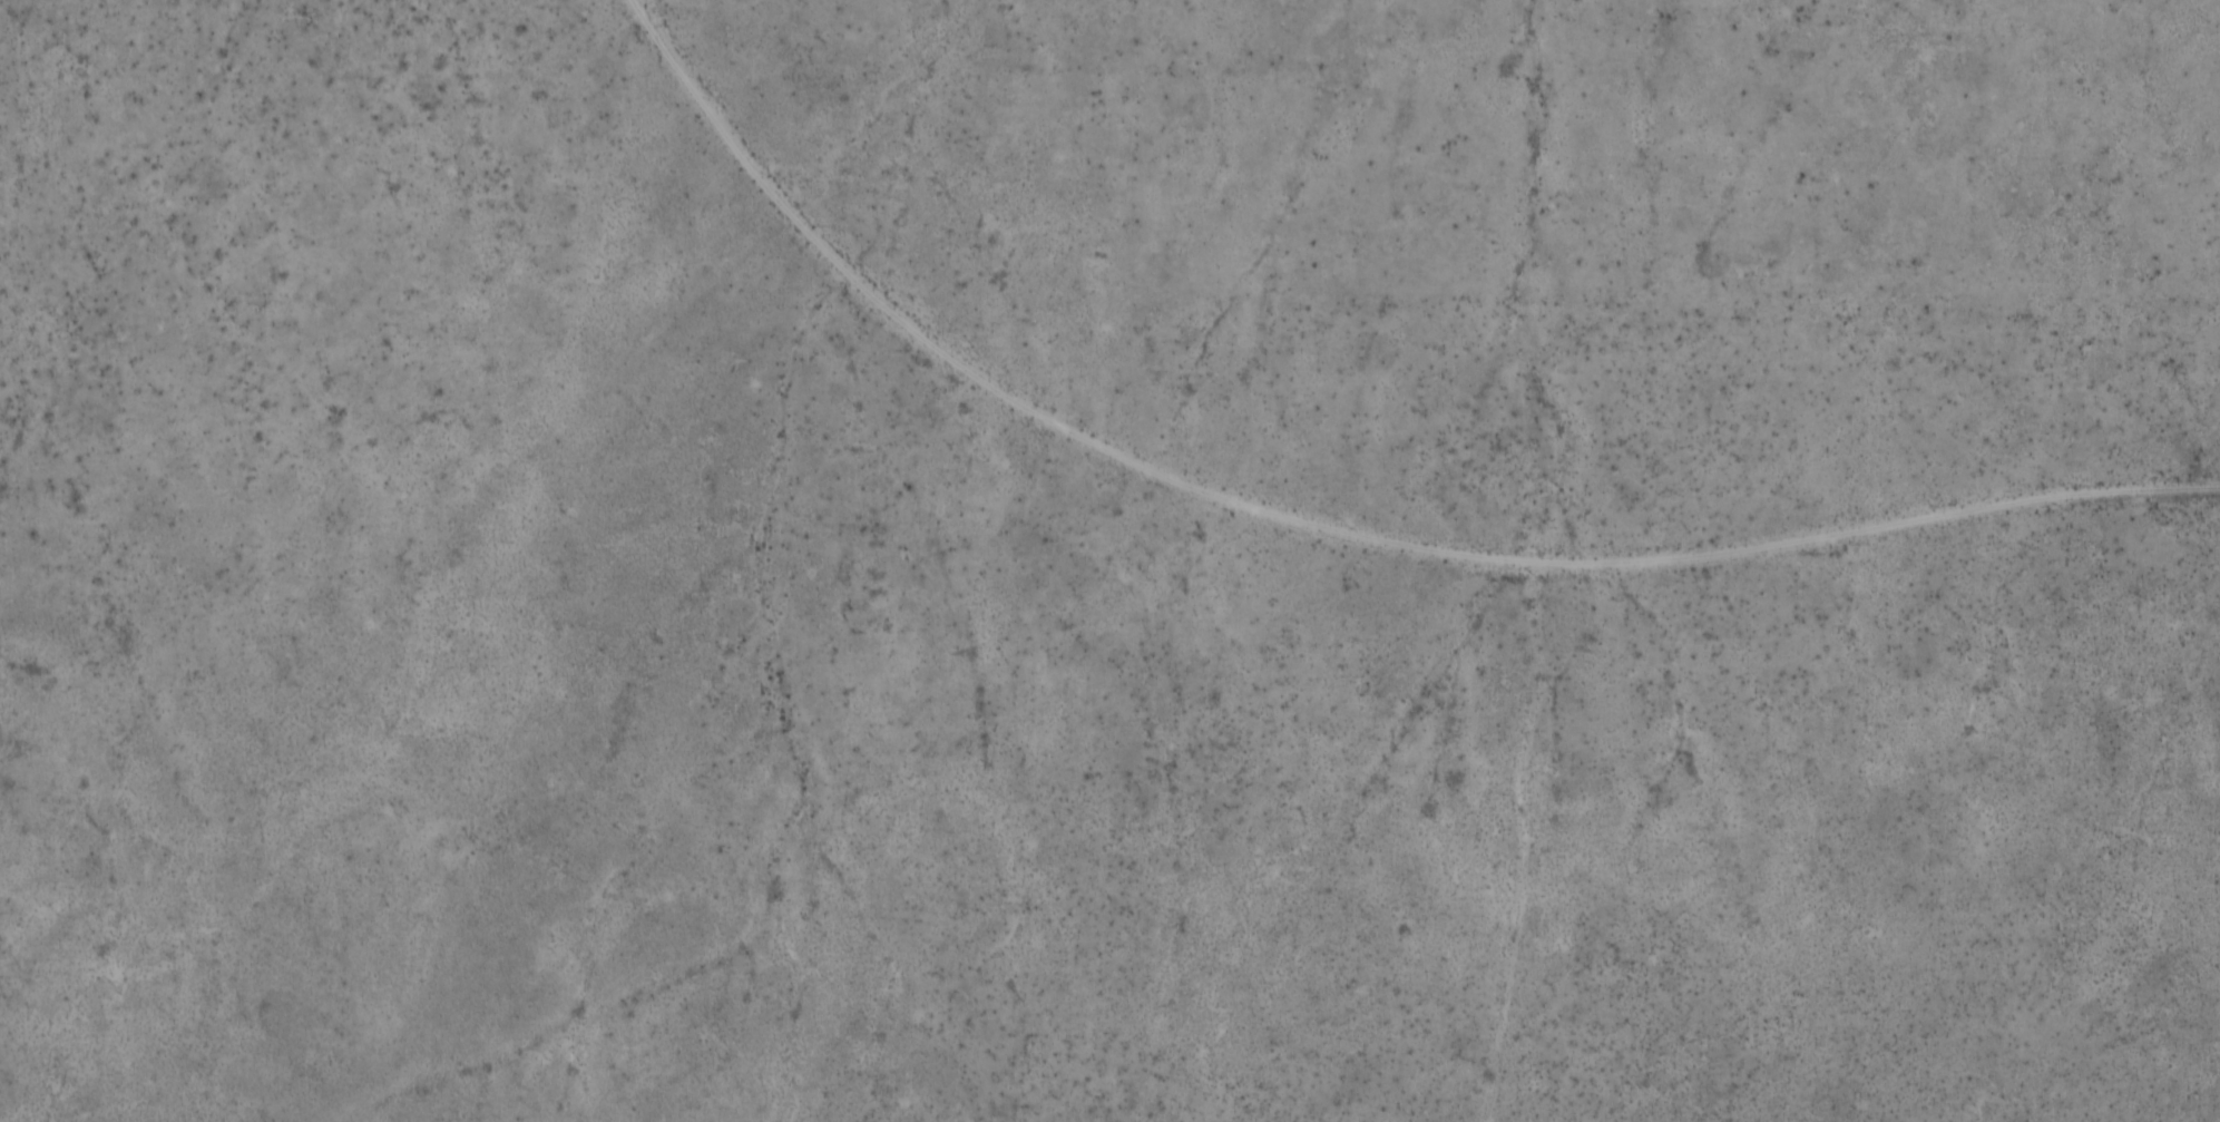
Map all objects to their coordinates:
road: (1321, 546)

